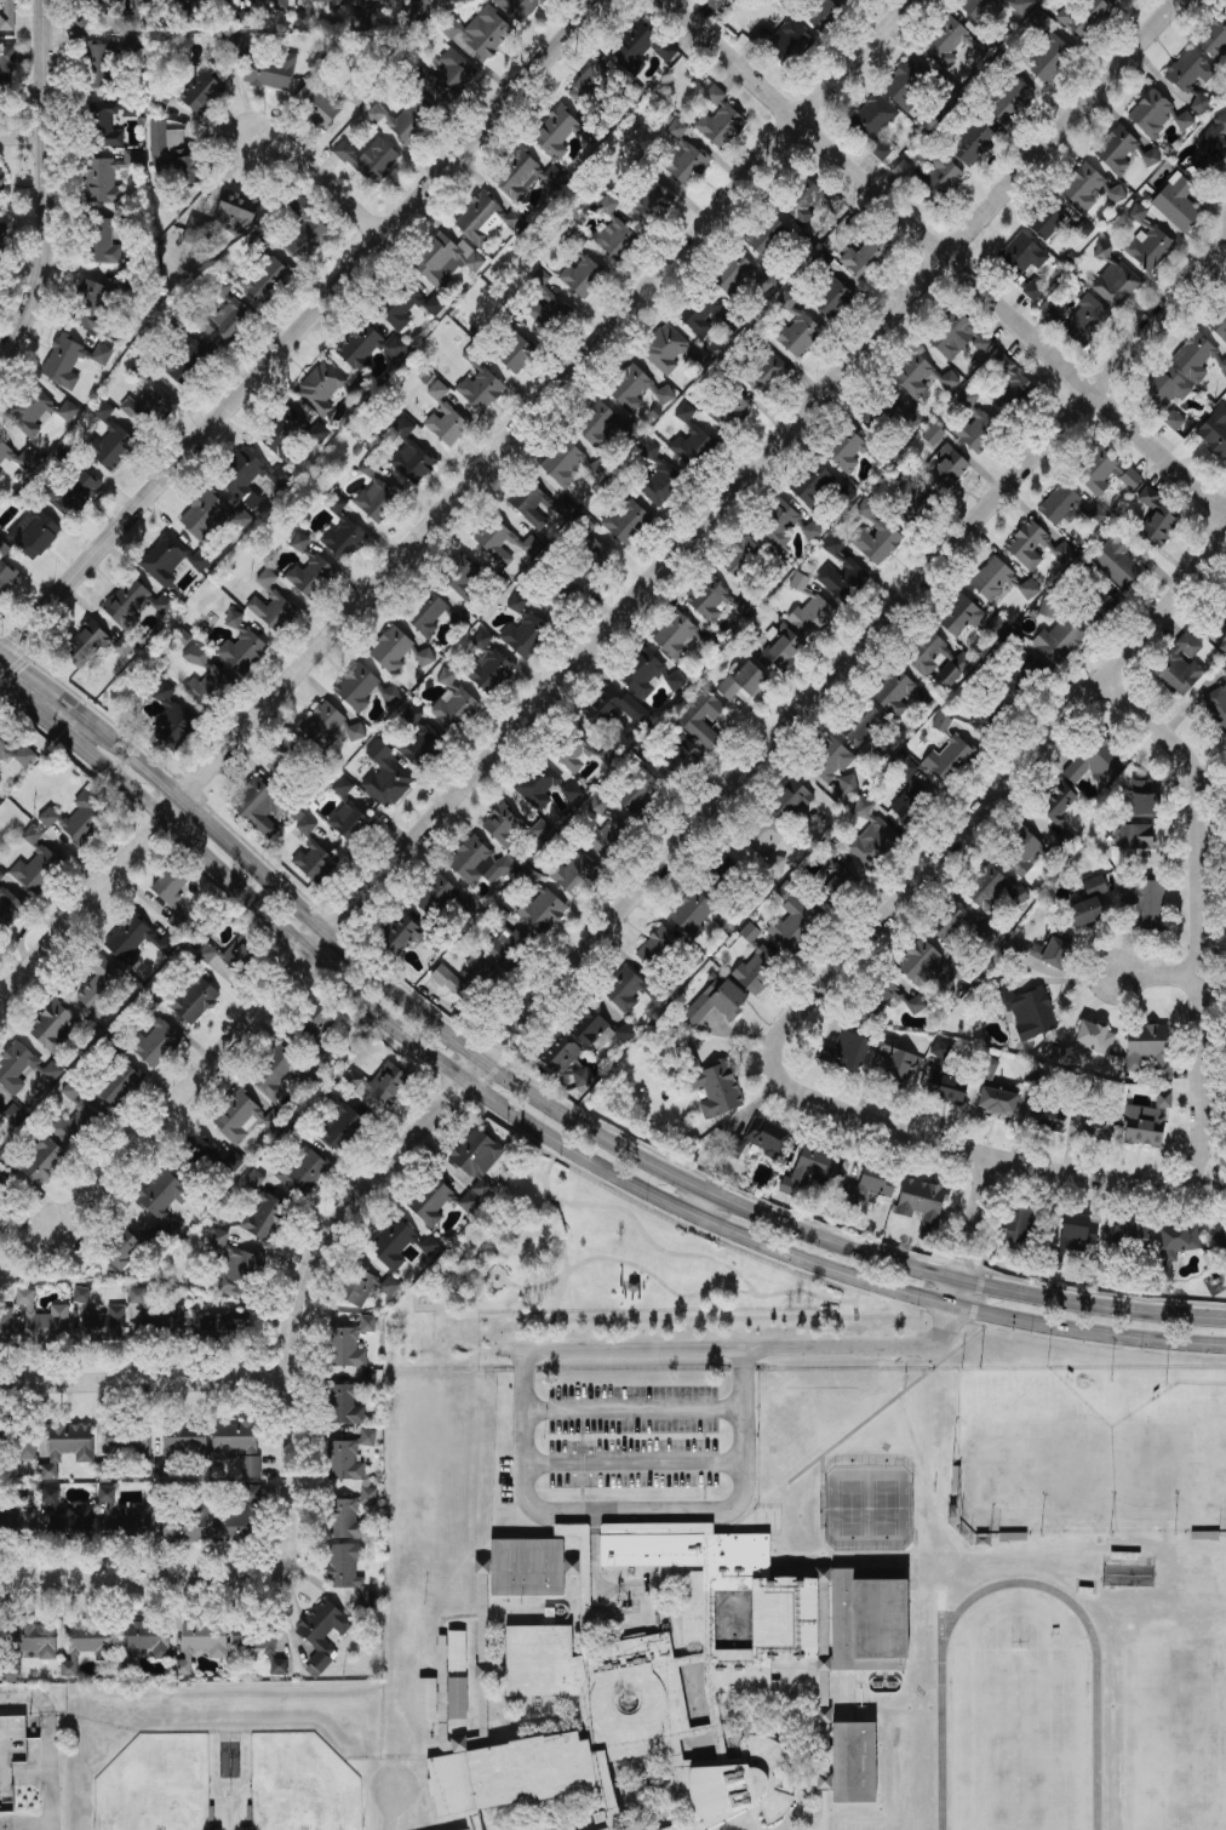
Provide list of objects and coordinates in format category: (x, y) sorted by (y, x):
building: (206, 0)
building: (1122, 0)
building: (93, 1)
building: (382, 2)
building: (718, 2)
building: (1022, 6)
building: (519, 8)
building: (981, 8)
building: (419, 10)
building: (138, 13)
building: (7, 15)
building: (824, 15)
building: (1084, 17)
building: (246, 18)
building: (303, 19)
building: (480, 33)
building: (1214, 38)
building: (783, 41)
building: (952, 44)
building: (641, 45)
building: (131, 46)
building: (1048, 56)
building: (99, 65)
building: (6, 67)
building: (270, 70)
building: (1188, 70)
building: (451, 76)
building: (591, 85)
building: (905, 85)
building: (202, 92)
building: (326, 99)
building: (1010, 99)
building: (1201, 103)
building: (1152, 113)
building: (873, 118)
building: (402, 119)
building: (721, 120)
building: (1185, 121)
building: (110, 124)
building: (556, 133)
road: (23, 135)
building: (972, 143)
building: (881, 150)
building: (1116, 150)
building: (1211, 150)
building: (174, 155)
building: (684, 156)
building: (1151, 158)
building: (369, 160)
building: (904, 171)
building: (526, 176)
building: (109, 177)
building: (939, 179)
building: (1, 181)
road: (321, 181)
road: (47, 187)
building: (1116, 195)
building: (652, 201)
building: (809, 202)
building: (1178, 204)
building: (1138, 215)
building: (481, 218)
building: (515, 219)
building: (239, 221)
building: (1044, 222)
building: (306, 231)
building: (615, 234)
building: (767, 235)
building: (1, 241)
building: (104, 241)
building: (1150, 247)
building: (1104, 251)
road: (946, 255)
building: (865, 257)
building: (1021, 257)
building: (446, 259)
building: (584, 275)
building: (264, 276)
building: (1116, 284)
building: (1033, 290)
building: (833, 298)
building: (92, 305)
building: (409, 305)
building: (1053, 309)
building: (550, 313)
building: (701, 314)
building: (1085, 320)
building: (224, 321)
building: (1219, 322)
road: (300, 330)
building: (796, 331)
building: (951, 333)
building: (984, 347)
building: (368, 348)
building: (671, 350)
building: (516, 354)
building: (1195, 355)
building: (71, 360)
building: (185, 362)
building: (766, 372)
building: (916, 376)
building: (1009, 382)
building: (320, 389)
building: (481, 389)
building: (637, 389)
building: (439, 390)
building: (1167, 395)
building: (145, 405)
building: (727, 410)
building: (30, 411)
building: (68, 411)
building: (103, 411)
building: (875, 416)
building: (447, 424)
building: (596, 424)
building: (976, 430)
building: (1215, 431)
building: (285, 433)
building: (933, 435)
building: (693, 446)
building: (111, 447)
building: (846, 450)
building: (651, 451)
building: (411, 454)
building: (18, 457)
building: (569, 464)
building: (369, 467)
building: (946, 467)
building: (1099, 470)
building: (241, 473)
building: (0, 475)
building: (279, 475)
building: (1130, 479)
building: (659, 484)
building: (813, 485)
building: (75, 491)
building: (377, 501)
road: (457, 502)
building: (537, 504)
building: (1061, 505)
building: (915, 507)
building: (213, 517)
building: (1158, 519)
building: (628, 522)
building: (779, 525)
building: (584, 526)
building: (812, 531)
building: (34, 533)
building: (343, 534)
building: (875, 534)
building: (300, 542)
building: (504, 543)
building: (1027, 545)
building: (1062, 553)
building: (740, 555)
building: (172, 560)
building: (1117, 560)
building: (592, 561)
building: (850, 566)
building: (310, 573)
building: (6, 576)
building: (995, 579)
building: (800, 582)
building: (1029, 589)
building: (711, 600)
building: (133, 604)
building: (273, 605)
building: (744, 606)
building: (1096, 608)
building: (1225, 611)
building: (428, 613)
building: (961, 616)
road: (618, 617)
building: (813, 617)
building: (234, 619)
building: (525, 635)
building: (675, 636)
traffic signals: (17, 640)
building: (1058, 640)
building: (481, 641)
building: (1224, 644)
building: (85, 645)
building: (783, 646)
road: (2, 651)
building: (397, 651)
building: (244, 652)
building: (928, 654)
building: (196, 656)
building: (1182, 667)
traffic signals: (25, 669)
building: (955, 669)
building: (491, 670)
building: (1225, 670)
building: (642, 674)
building: (1024, 675)
building: (447, 676)
road: (38, 679)
building: (744, 681)
building: (357, 688)
building: (207, 690)
building: (162, 691)
building: (895, 693)
building: (390, 696)
building: (1218, 707)
building: (614, 709)
building: (456, 710)
building: (413, 715)
building: (989, 717)
building: (704, 720)
building: (861, 722)
building: (941, 722)
building: (176, 725)
building: (323, 725)
building: (356, 732)
building: (422, 747)
building: (4, 750)
building: (380, 750)
building: (575, 754)
building: (24, 755)
building: (609, 756)
building: (950, 759)
building: (287, 760)
building: (682, 760)
building: (831, 762)
building: (1096, 762)
building: (388, 784)
building: (848, 784)
building: (538, 785)
road: (1001, 791)
building: (572, 793)
building: (638, 793)
building: (910, 797)
building: (791, 799)
building: (1144, 799)
building: (1058, 804)
building: (597, 805)
building: (349, 816)
building: (79, 819)
building: (504, 827)
building: (540, 830)
building: (763, 833)
building: (871, 836)
building: (609, 837)
building: (1132, 842)
building: (311, 852)
building: (1024, 853)
building: (480, 863)
building: (36, 864)
road: (661, 867)
building: (731, 867)
building: (575, 874)
building: (1, 875)
building: (833, 883)
building: (170, 885)
building: (986, 888)
building: (436, 896)
building: (1089, 903)
building: (1146, 903)
building: (10, 908)
road: (1202, 908)
building: (542, 913)
building: (692, 913)
building: (177, 921)
building: (794, 922)
building: (947, 922)
building: (749, 933)
building: (401, 934)
building: (136, 940)
building: (506, 947)
building: (657, 947)
building: (1055, 948)
building: (231, 954)
building: (926, 965)
building: (756, 970)
road: (1158, 976)
building: (468, 980)
building: (101, 987)
building: (625, 990)
building: (195, 1000)
building: (903, 1000)
building: (716, 1001)
building: (1030, 1011)
building: (315, 1022)
building: (53, 1026)
building: (589, 1026)
building: (625, 1034)
building: (1094, 1040)
building: (155, 1043)
building: (1150, 1048)
building: (940, 1050)
building: (846, 1052)
building: (560, 1054)
building: (898, 1063)
building: (16, 1066)
building: (52, 1071)
building: (274, 1074)
building: (582, 1077)
building: (388, 1081)
building: (566, 1082)
building: (119, 1085)
building: (715, 1088)
building: (945, 1090)
building: (997, 1102)
building: (242, 1116)
building: (74, 1117)
building: (1045, 1119)
building: (1147, 1123)
building: (342, 1127)
building: (1095, 1127)
road: (588, 1131)
building: (766, 1136)
road: (550, 1139)
road: (973, 1153)
building: (210, 1154)
building: (6, 1155)
building: (42, 1160)
building: (476, 1165)
building: (304, 1172)
building: (812, 1172)
building: (4, 1183)
building: (871, 1184)
building: (162, 1200)
building: (431, 1202)
building: (922, 1203)
road: (700, 1206)
building: (263, 1209)
building: (1019, 1224)
road: (970, 1231)
building: (1078, 1233)
building: (1130, 1235)
building: (1220, 1237)
building: (1180, 1241)
building: (393, 1243)
road: (652, 1243)
building: (429, 1245)
building: (121, 1248)
road: (565, 1248)
building: (236, 1266)
road: (466, 1275)
road: (504, 1275)
fountain: (498, 1279)
park: (598, 1282)
building: (630, 1285)
building: (367, 1288)
road: (672, 1293)
road: (857, 1315)
building: (157, 1316)
building: (101, 1320)
building: (42, 1321)
building: (5, 1325)
building: (223, 1325)
building: (350, 1344)
road: (147, 1382)
road: (520, 1386)
building: (344, 1405)
road: (631, 1408)
road: (860, 1425)
building: (367, 1437)
building: (184, 1440)
building: (127, 1443)
building: (237, 1443)
building: (24, 1446)
building: (68, 1447)
building: (344, 1462)
road: (632, 1468)
park: (1107, 1471)
building: (51, 1496)
park: (850, 1509)
park: (884, 1509)
road: (823, 1510)
building: (124, 1515)
building: (350, 1515)
building: (239, 1516)
building: (71, 1520)
building: (19, 1521)
building: (188, 1527)
road: (774, 1543)
road: (592, 1549)
road: (815, 1554)
road: (865, 1561)
road: (783, 1562)
road: (916, 1563)
building: (345, 1565)
road: (144, 1582)
road: (598, 1583)
road: (568, 1590)
building: (367, 1599)
road: (642, 1601)
road: (670, 1611)
road: (449, 1617)
building: (867, 1619)
road: (621, 1624)
building: (323, 1631)
building: (149, 1639)
building: (35, 1640)
building: (201, 1642)
building: (86, 1643)
building: (253, 1643)
building: (456, 1651)
building: (440, 1652)
building: (279, 1666)
building: (644, 1687)
building: (821, 1689)
building: (425, 1699)
building: (456, 1699)
park: (1018, 1739)
park: (1175, 1739)
track: (941, 1746)
building: (852, 1763)
road: (48, 1777)
park: (154, 1784)
park: (299, 1784)
road: (824, 1809)
building: (246, 1813)
building: (212, 1814)
road: (757, 1819)
road: (13, 1826)
road: (12, 1828)
building: (216, 1829)
building: (242, 1829)

